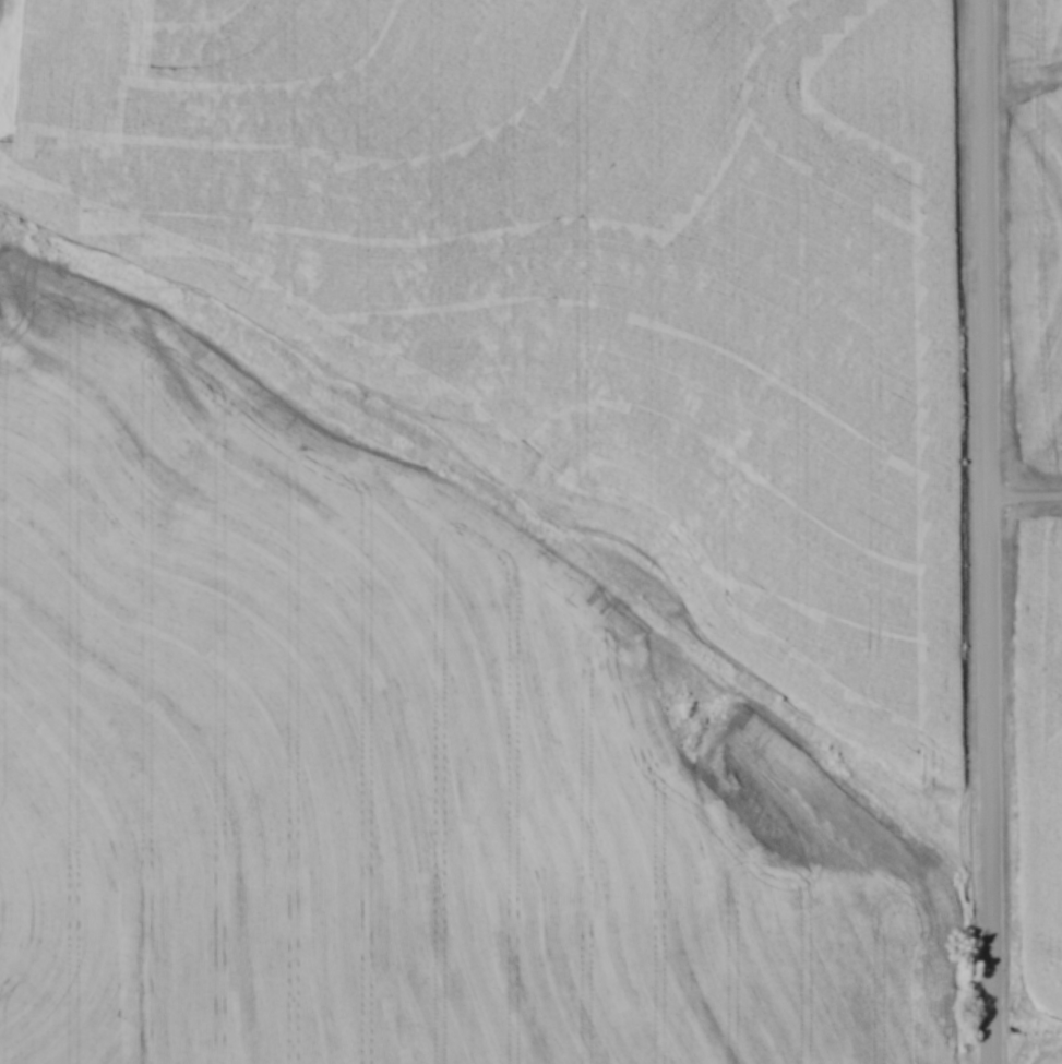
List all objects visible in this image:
road: (1026, 498)
road: (991, 531)

